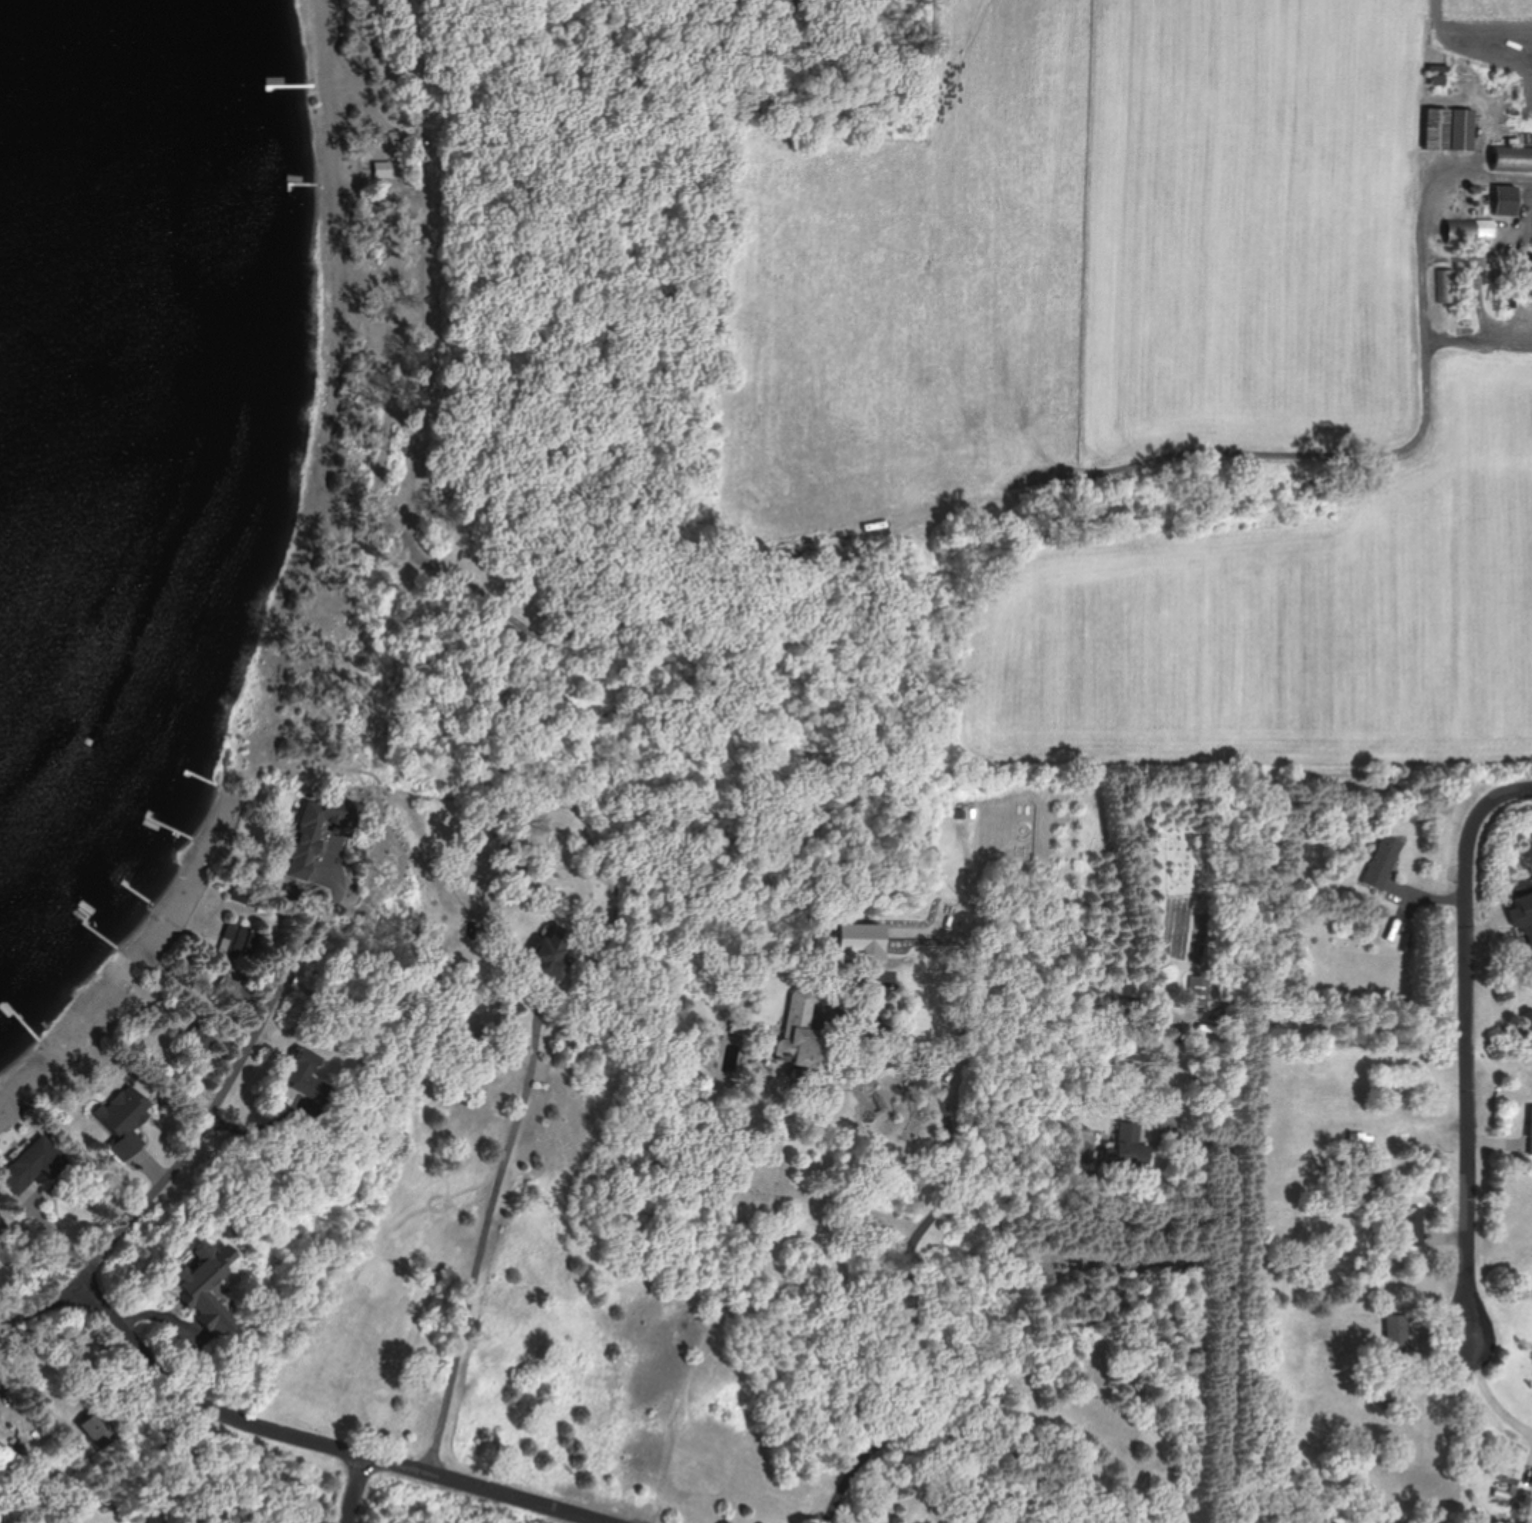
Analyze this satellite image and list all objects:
building: (265, 85)
building: (1439, 127)
building: (1464, 128)
building: (1513, 157)
building: (382, 168)
building: (1507, 199)
building: (1471, 229)
building: (1448, 284)
building: (1530, 309)
road: (812, 552)
building: (966, 808)
building: (325, 811)
building: (1385, 860)
building: (1530, 934)
building: (239, 938)
building: (861, 938)
building: (552, 951)
road: (970, 979)
building: (228, 981)
building: (1200, 990)
building: (198, 1037)
road: (1472, 1046)
building: (306, 1075)
building: (123, 1115)
building: (1531, 1128)
building: (1364, 1136)
road: (184, 1139)
building: (1130, 1146)
building: (32, 1162)
building: (1, 1224)
building: (1407, 1224)
road: (483, 1239)
road: (916, 1240)
building: (204, 1285)
road: (1227, 1302)
building: (1398, 1335)
road: (1491, 1394)
building: (97, 1428)
road: (317, 1443)
building: (15, 1452)
building: (1513, 1467)
road: (355, 1490)

